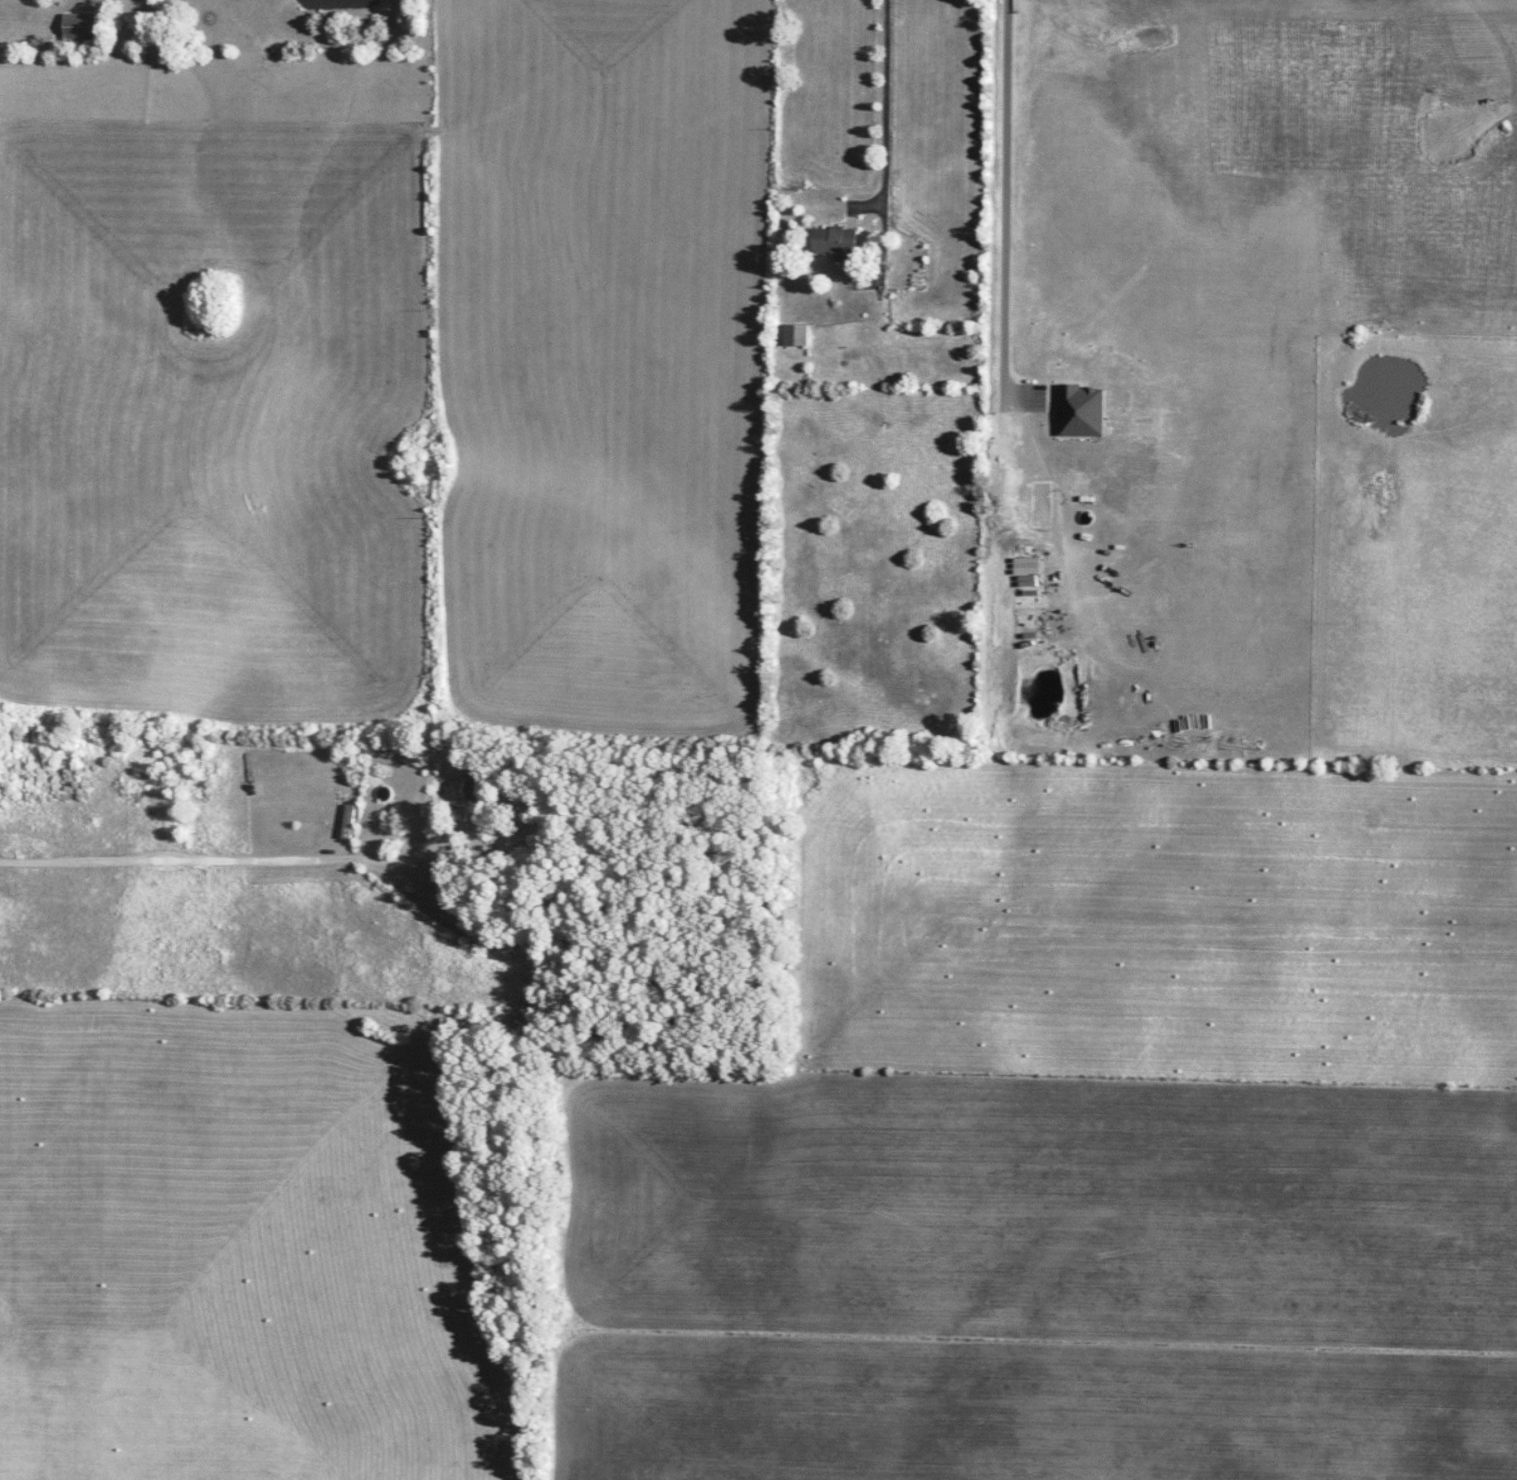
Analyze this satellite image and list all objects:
building: (85, 27)
road: (887, 103)
building: (835, 243)
building: (796, 336)
road: (237, 857)

